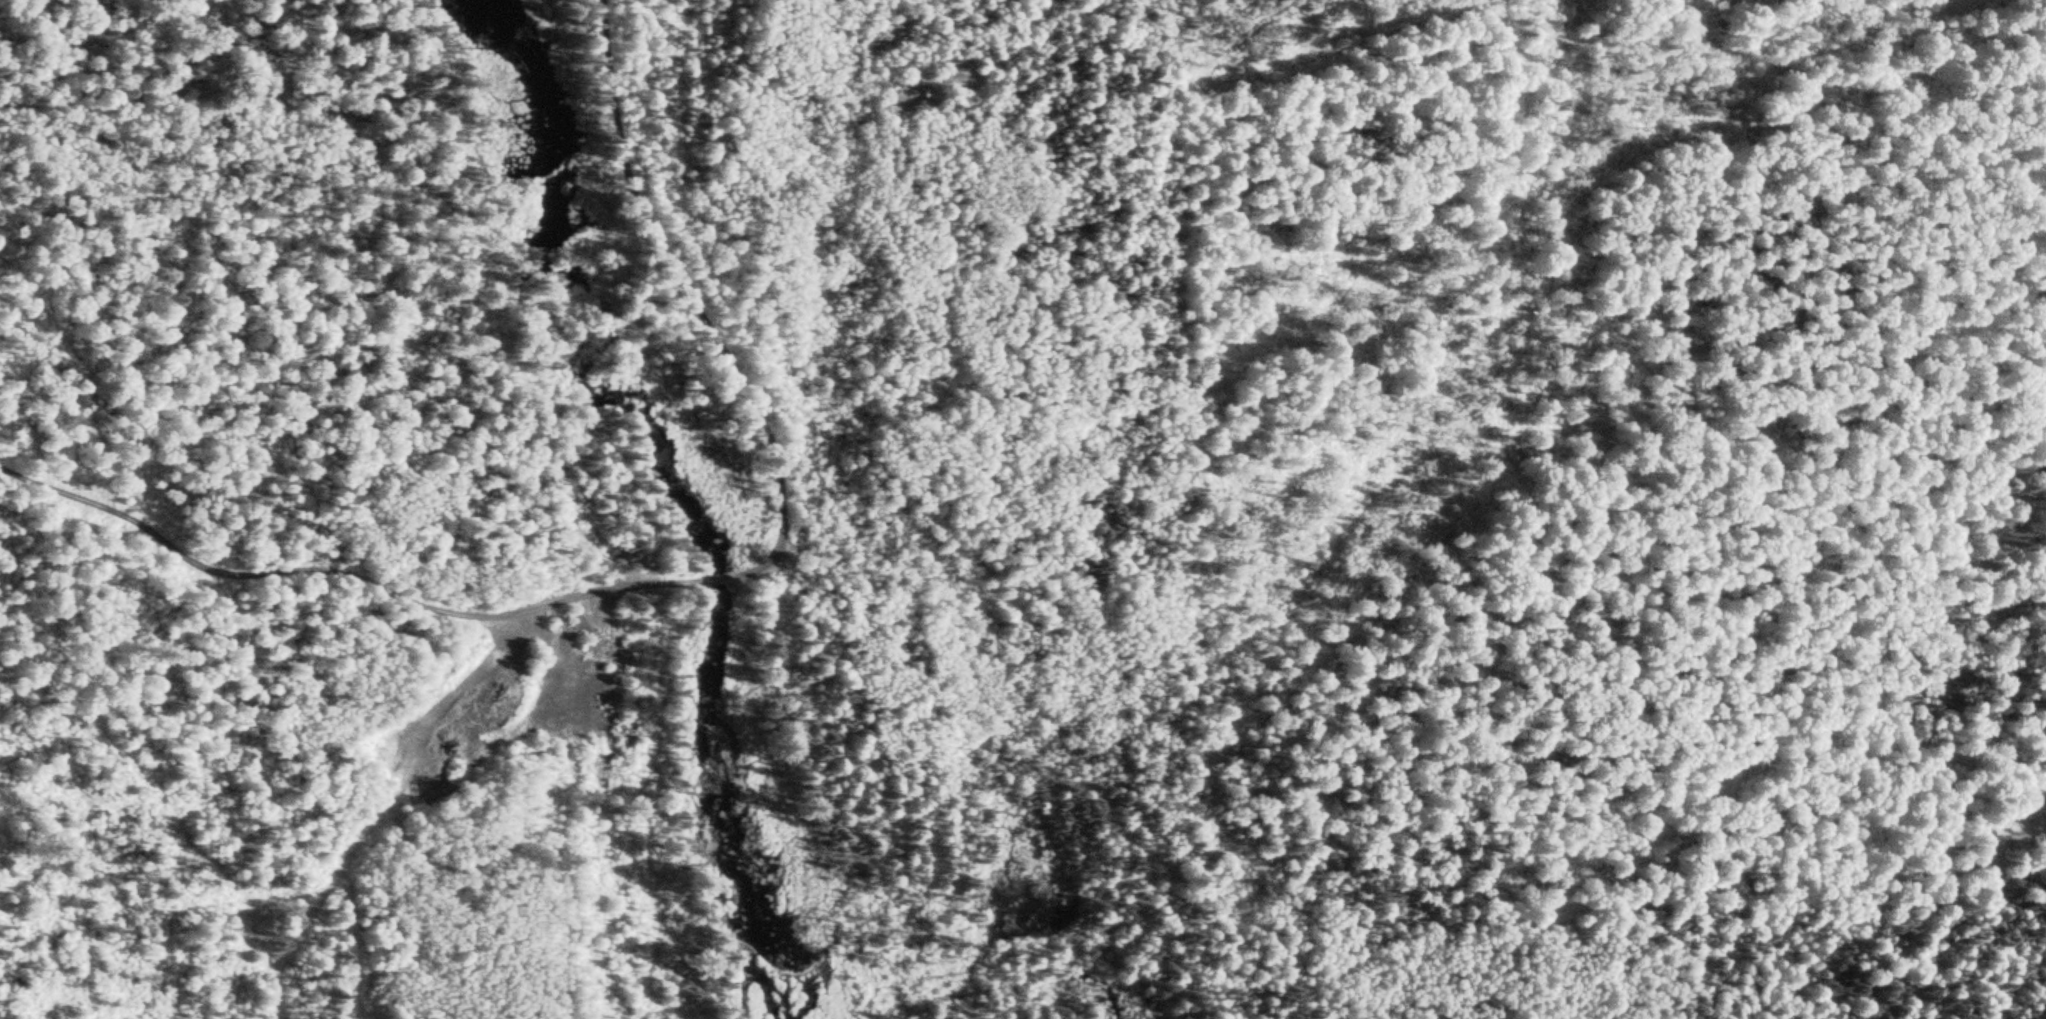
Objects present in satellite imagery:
river: (531, 129)
road: (747, 374)
river: (712, 633)

